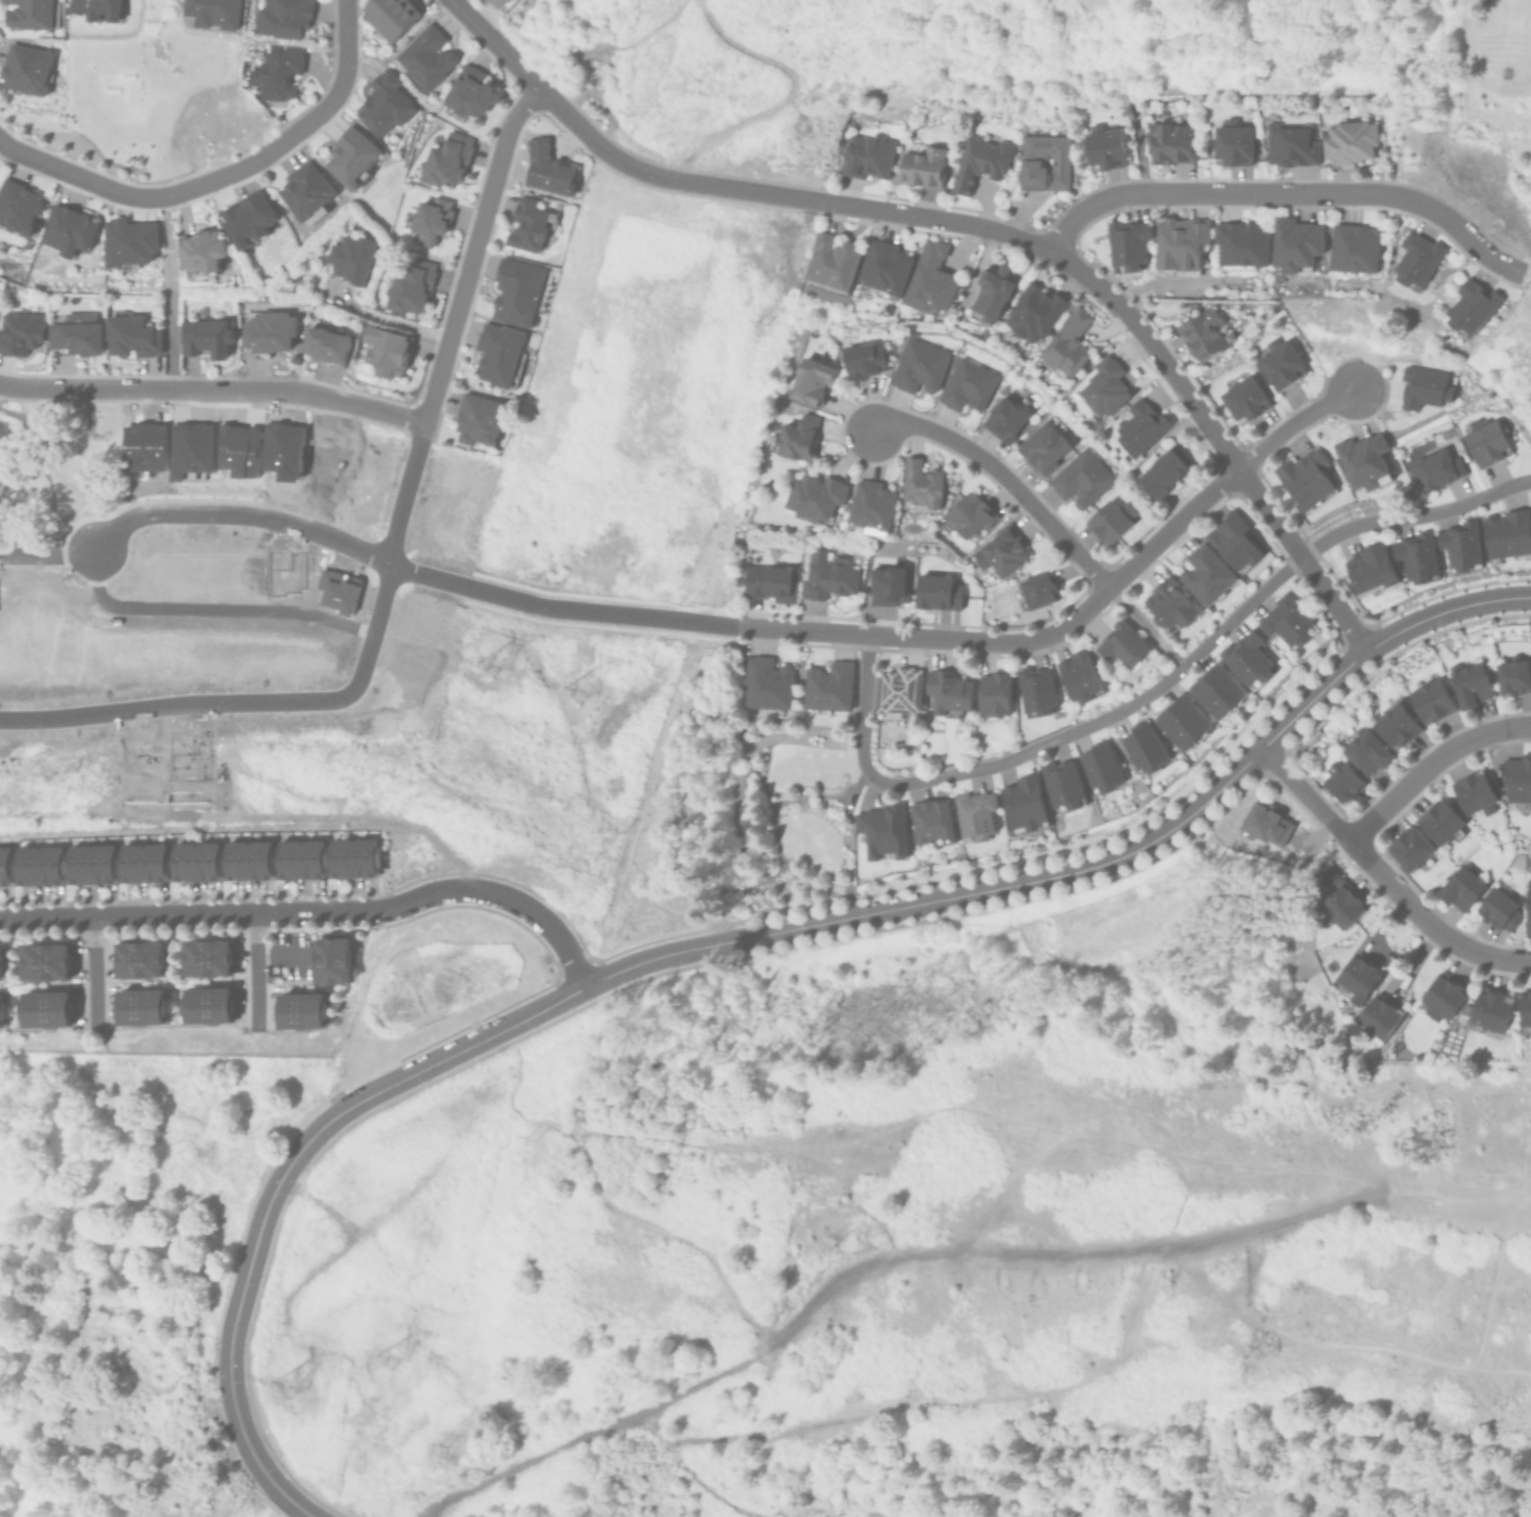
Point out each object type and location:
building: (499, 3)
building: (97, 9)
building: (214, 13)
building: (29, 14)
building: (391, 16)
building: (283, 17)
building: (427, 56)
building: (26, 69)
building: (277, 71)
building: (472, 92)
park: (131, 95)
building: (385, 104)
road: (574, 123)
road: (293, 134)
building: (1167, 140)
building: (1230, 143)
building: (1345, 143)
building: (1289, 144)
building: (1101, 147)
building: (352, 156)
building: (865, 156)
building: (449, 160)
building: (976, 161)
building: (1041, 161)
building: (922, 166)
building: (548, 168)
road: (74, 173)
building: (306, 190)
road: (1285, 191)
building: (19, 207)
building: (249, 219)
building: (431, 220)
building: (529, 225)
building: (70, 230)
building: (129, 241)
building: (1124, 242)
building: (1292, 243)
building: (1180, 245)
building: (1241, 245)
building: (1351, 248)
building: (201, 251)
building: (351, 258)
building: (1415, 258)
building: (830, 263)
building: (883, 267)
building: (929, 279)
building: (411, 286)
building: (518, 291)
building: (986, 291)
road: (168, 293)
building: (1472, 307)
road: (1123, 309)
building: (1033, 312)
road: (387, 318)
building: (270, 331)
building: (20, 332)
building: (1204, 333)
building: (133, 336)
building: (77, 337)
building: (206, 337)
building: (326, 344)
building: (1062, 345)
building: (387, 350)
building: (499, 353)
building: (860, 359)
building: (1277, 362)
building: (915, 364)
building: (809, 380)
building: (965, 384)
building: (1103, 384)
building: (1423, 386)
road: (2, 387)
road: (215, 389)
road: (437, 389)
building: (1241, 398)
building: (479, 419)
building: (1004, 419)
road: (1293, 421)
building: (1139, 428)
building: (1445, 432)
building: (793, 436)
building: (1484, 442)
building: (1043, 447)
building: (1362, 462)
building: (1435, 468)
building: (1162, 471)
road: (54, 478)
road: (1005, 478)
building: (1080, 478)
building: (1303, 478)
park: (51, 479)
building: (918, 485)
building: (810, 495)
building: (872, 506)
building: (968, 516)
road: (240, 520)
building: (1109, 520)
building: (1505, 534)
building: (1230, 541)
building: (1459, 545)
building: (999, 552)
building: (1414, 557)
road: (47, 560)
building: (1367, 568)
building: (823, 576)
building: (1204, 576)
building: (768, 582)
building: (886, 585)
building: (1035, 591)
building: (935, 592)
building: (1166, 604)
road: (214, 612)
building: (1286, 622)
road: (1145, 625)
road: (843, 631)
building: (1121, 645)
building: (1245, 661)
building: (1510, 675)
building: (1077, 676)
power tower: (485, 681)
building: (1467, 682)
building: (769, 684)
building: (826, 687)
building: (896, 690)
building: (1033, 690)
road: (1153, 690)
building: (1214, 691)
building: (946, 692)
building: (992, 694)
power tower: (574, 698)
building: (1428, 700)
road: (176, 711)
building: (1179, 722)
building: (1393, 726)
building: (1142, 748)
building: (1363, 751)
road: (1429, 763)
building: (1098, 767)
building: (1516, 779)
building: (1340, 782)
building: (1058, 783)
building: (1473, 793)
road: (637, 800)
building: (1021, 804)
building: (971, 814)
building: (931, 822)
building: (1438, 822)
building: (881, 832)
building: (1408, 848)
building: (354, 857)
building: (302, 859)
building: (250, 860)
building: (1527, 860)
building: (197, 861)
building: (145, 863)
building: (93, 864)
building: (40, 865)
building: (5, 869)
road: (1382, 877)
building: (1458, 889)
road: (990, 890)
building: (1336, 897)
building: (1496, 908)
building: (1527, 908)
road: (317, 913)
building: (208, 958)
building: (141, 959)
building: (2, 960)
building: (334, 960)
building: (46, 961)
road: (257, 972)
road: (95, 976)
building: (1357, 978)
building: (1439, 997)
building: (209, 1005)
building: (142, 1006)
building: (47, 1009)
building: (2, 1010)
building: (305, 1010)
building: (1524, 1010)
building: (1485, 1013)
building: (1376, 1019)
road: (242, 1283)
power tower: (391, 1368)
power tower: (283, 1397)

